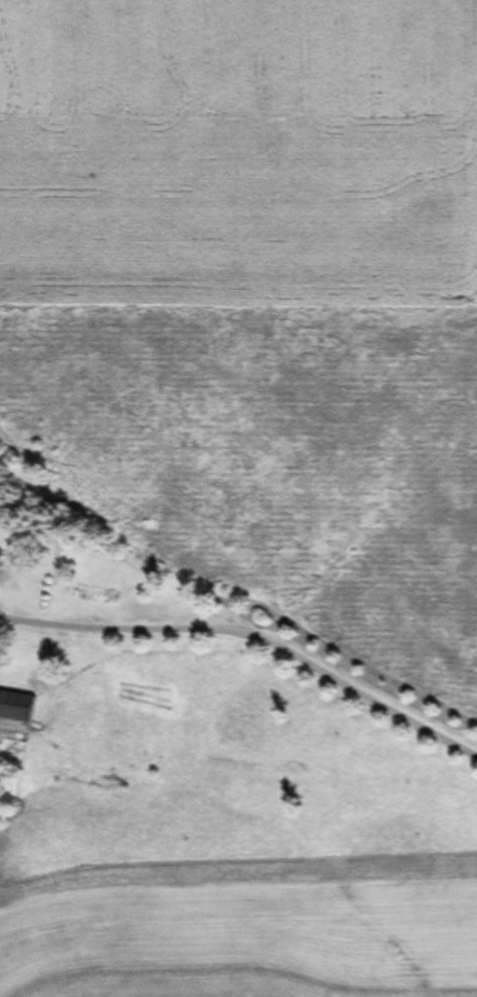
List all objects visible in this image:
building: (3, 563)
road: (252, 639)
building: (19, 705)

